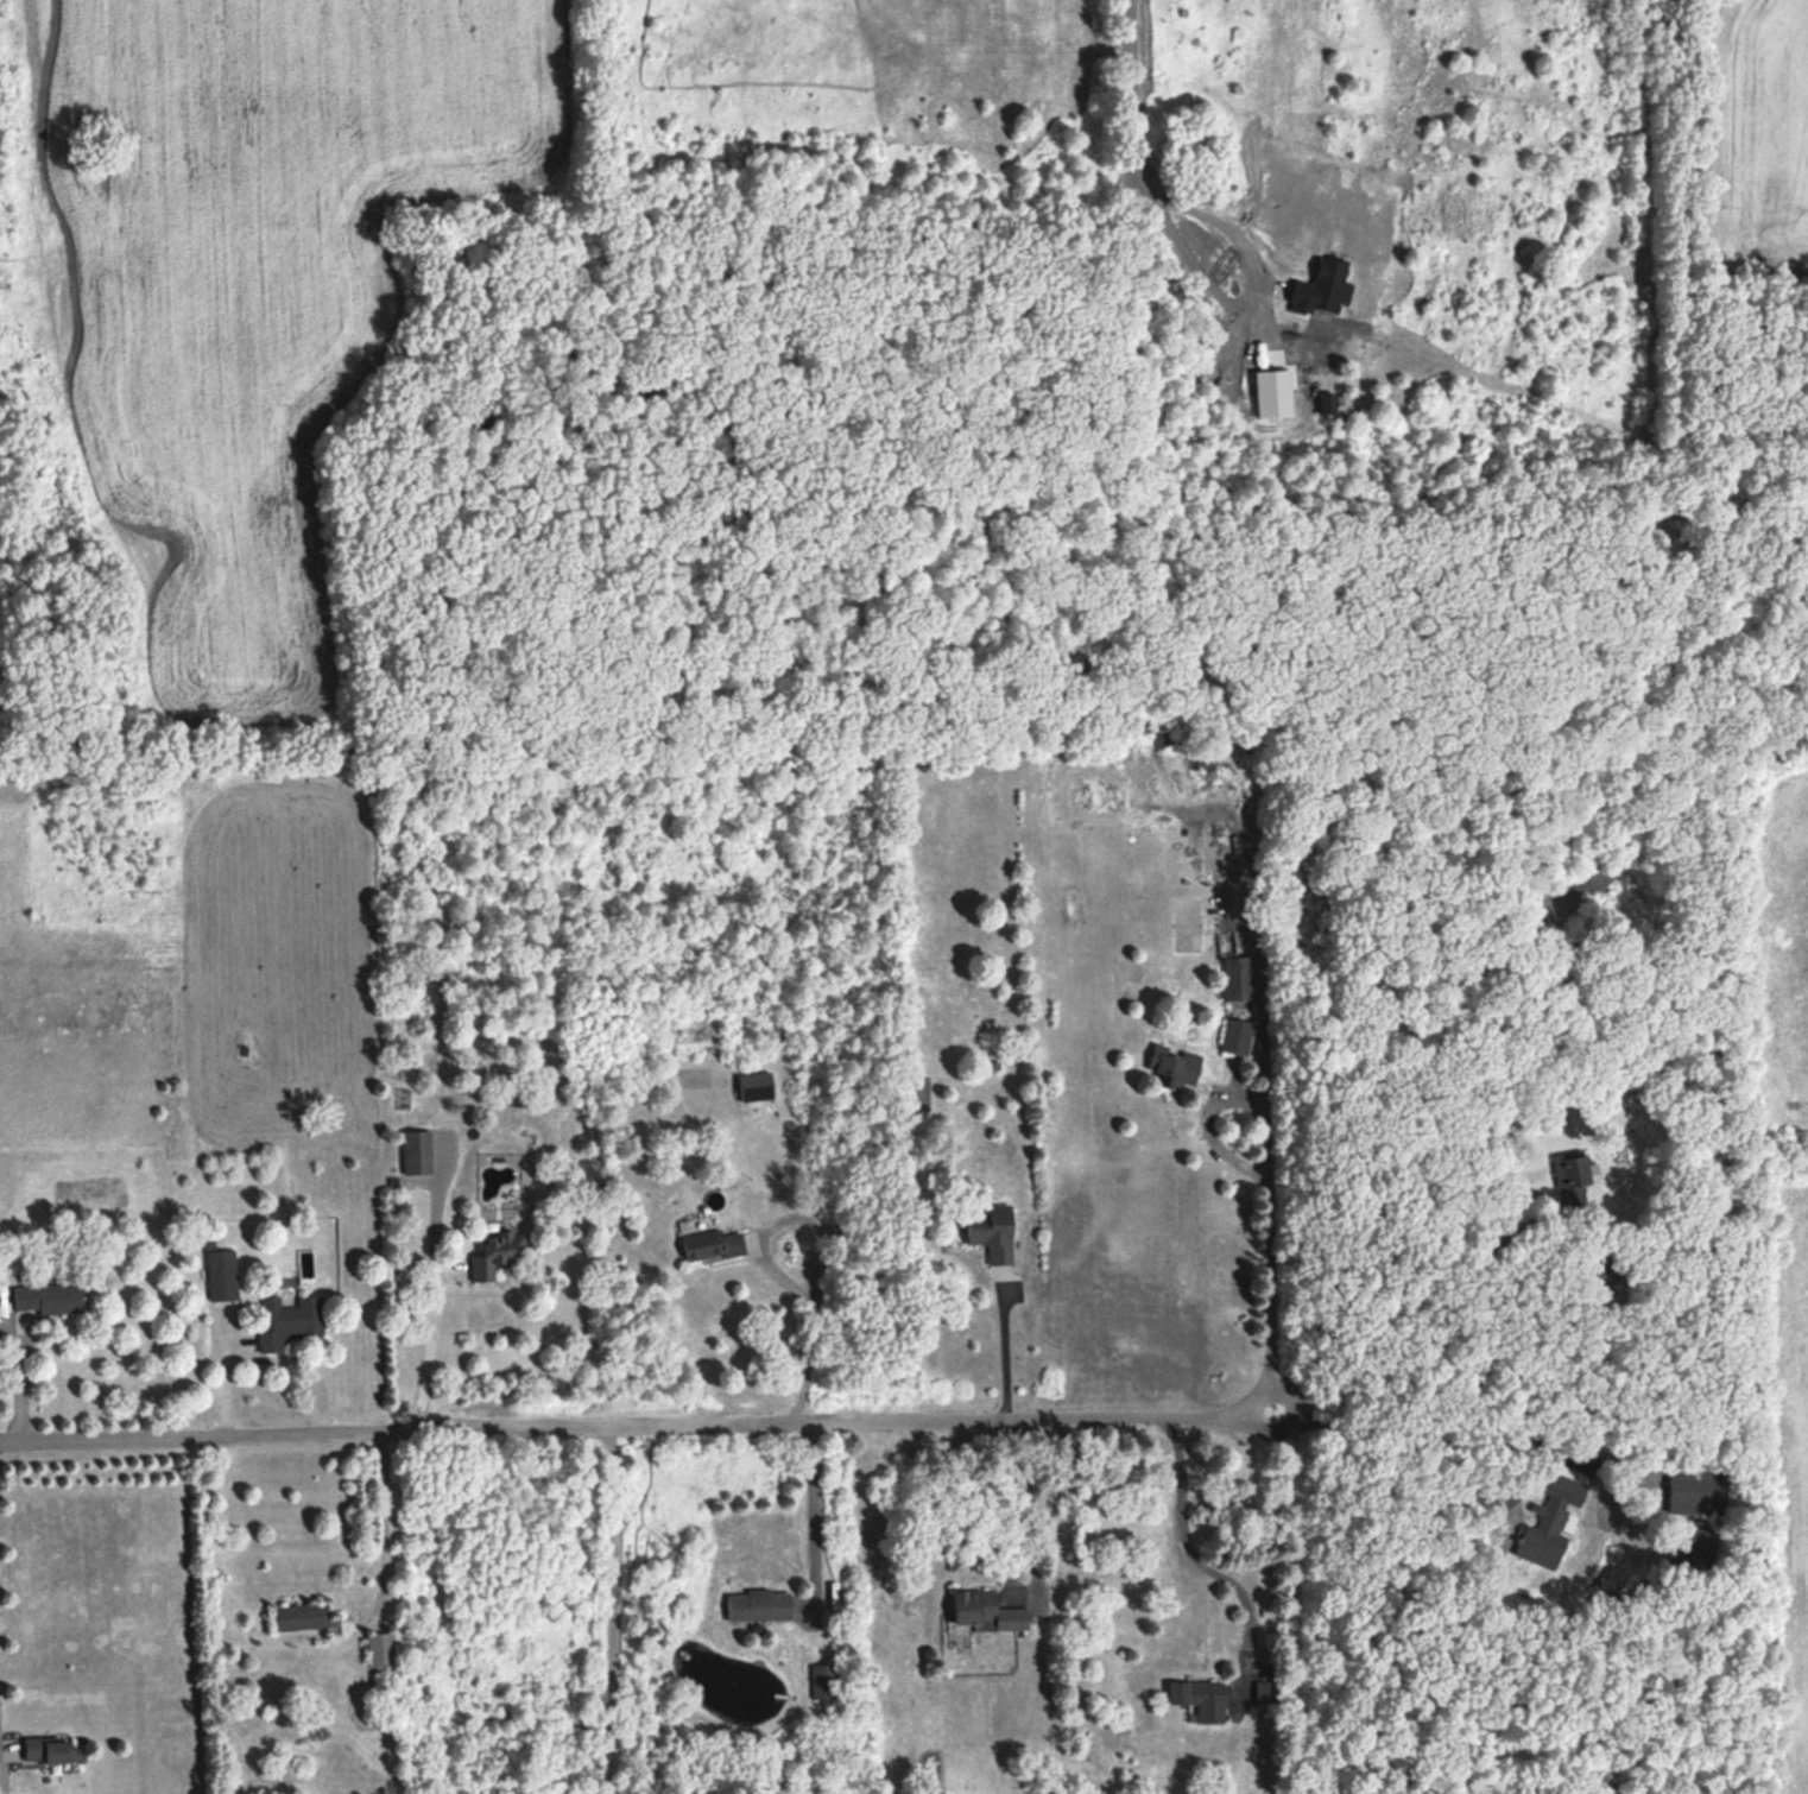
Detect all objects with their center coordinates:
road: (1139, 133)
building: (1233, 977)
building: (1234, 1036)
building: (1171, 1066)
building: (757, 1086)
building: (918, 1092)
building: (419, 1150)
road: (1269, 1177)
building: (1568, 1179)
building: (995, 1231)
building: (715, 1243)
building: (500, 1251)
road: (817, 1255)
building: (222, 1271)
road: (431, 1282)
road: (1462, 1286)
building: (50, 1297)
building: (291, 1319)
road: (1005, 1343)
road: (267, 1353)
road: (638, 1429)
road: (1497, 1442)
road: (816, 1514)
building: (1548, 1520)
road: (387, 1530)
road: (1187, 1542)
road: (1031, 1550)
building: (763, 1604)
road: (614, 1612)
building: (988, 1612)
building: (302, 1617)
building: (383, 1649)
building: (826, 1681)
building: (1195, 1698)
building: (52, 1750)

